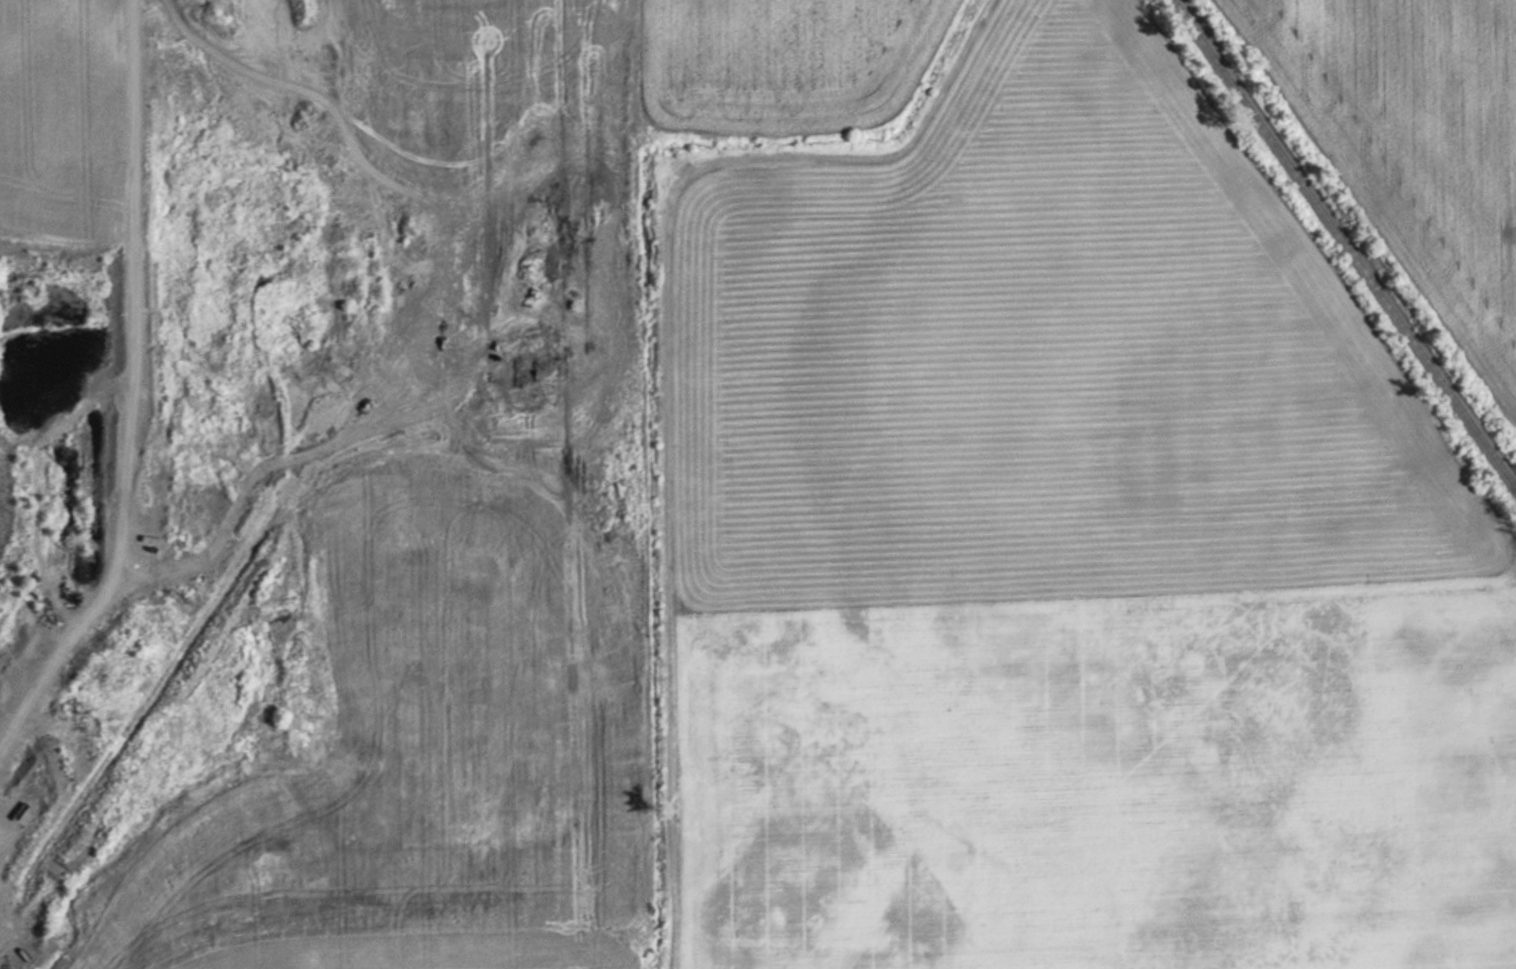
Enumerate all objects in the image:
railway: (1346, 239)

